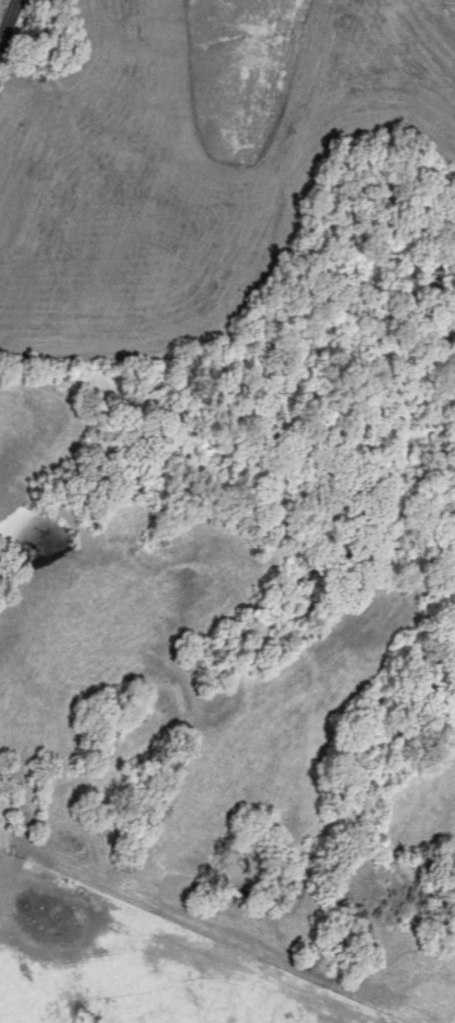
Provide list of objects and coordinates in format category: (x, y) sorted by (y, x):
road: (9, 22)

